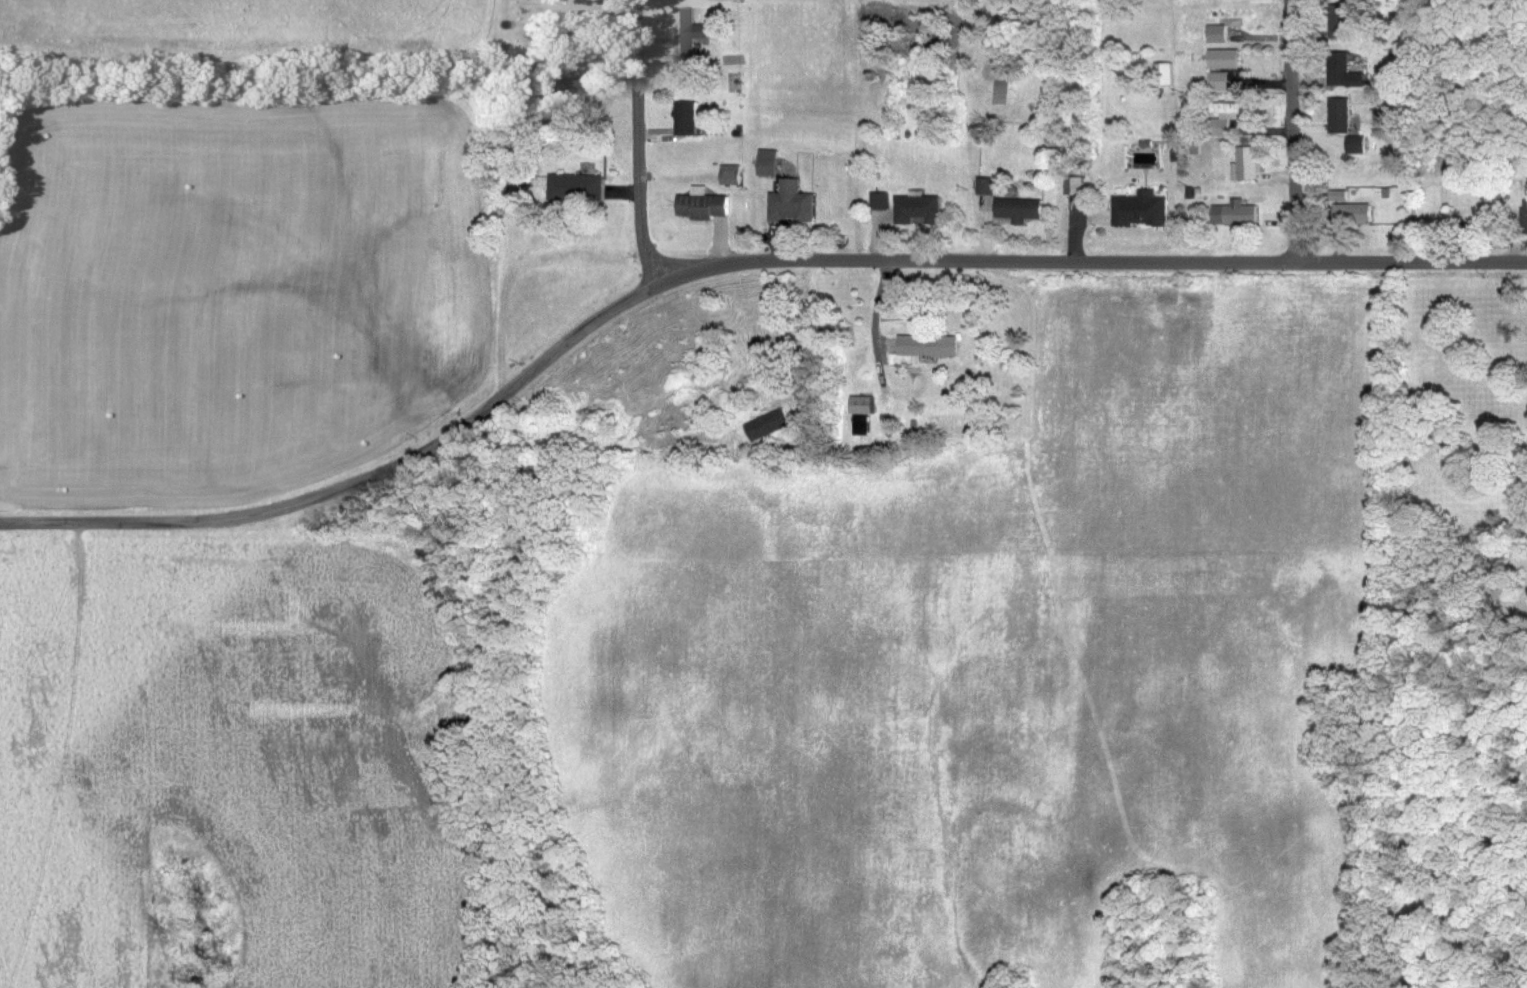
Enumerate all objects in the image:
building: (1341, 25)
building: (1219, 35)
building: (689, 36)
building: (1226, 61)
building: (1345, 72)
building: (1166, 75)
building: (1221, 82)
building: (557, 89)
building: (1341, 117)
building: (1229, 118)
building: (688, 120)
road: (1295, 132)
road: (637, 143)
building: (1357, 146)
building: (770, 164)
building: (1247, 166)
building: (733, 176)
building: (1077, 187)
building: (577, 188)
building: (988, 188)
building: (1341, 197)
building: (881, 203)
building: (793, 204)
building: (704, 206)
building: (920, 210)
building: (1022, 211)
building: (1142, 211)
building: (1237, 215)
building: (1355, 215)
building: (1526, 220)
road: (1091, 263)
building: (930, 347)
building: (864, 407)
building: (770, 427)
building: (863, 427)
road: (356, 479)

